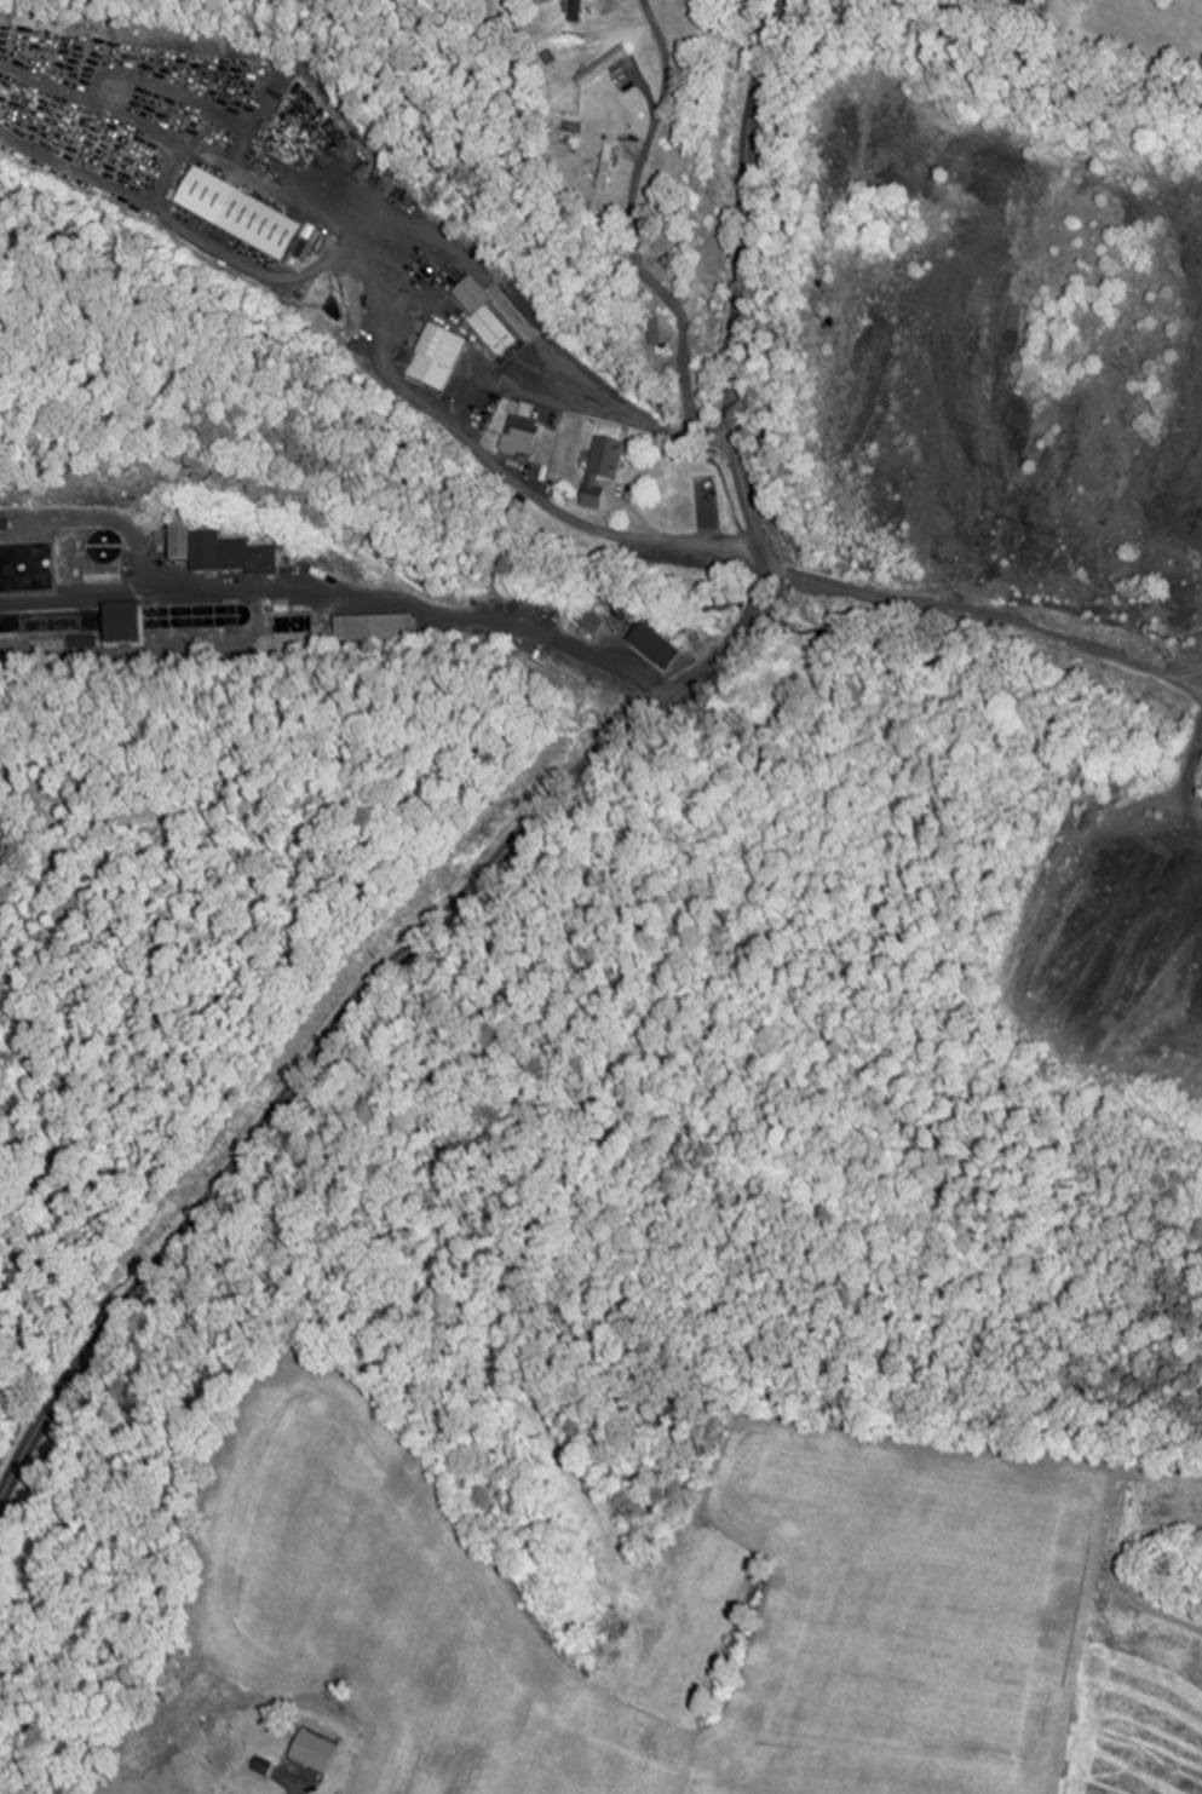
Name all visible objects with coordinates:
building: (545, 1)
building: (581, 11)
building: (605, 68)
road: (719, 171)
building: (261, 228)
road: (633, 237)
building: (487, 318)
building: (663, 332)
building: (437, 360)
road: (635, 422)
building: (524, 437)
road: (470, 438)
building: (605, 472)
road: (617, 535)
building: (183, 547)
building: (252, 558)
building: (107, 562)
road: (989, 608)
road: (483, 617)
building: (596, 619)
building: (663, 654)
road: (1201, 694)
road: (552, 799)
building: (318, 1737)
road: (291, 1790)

